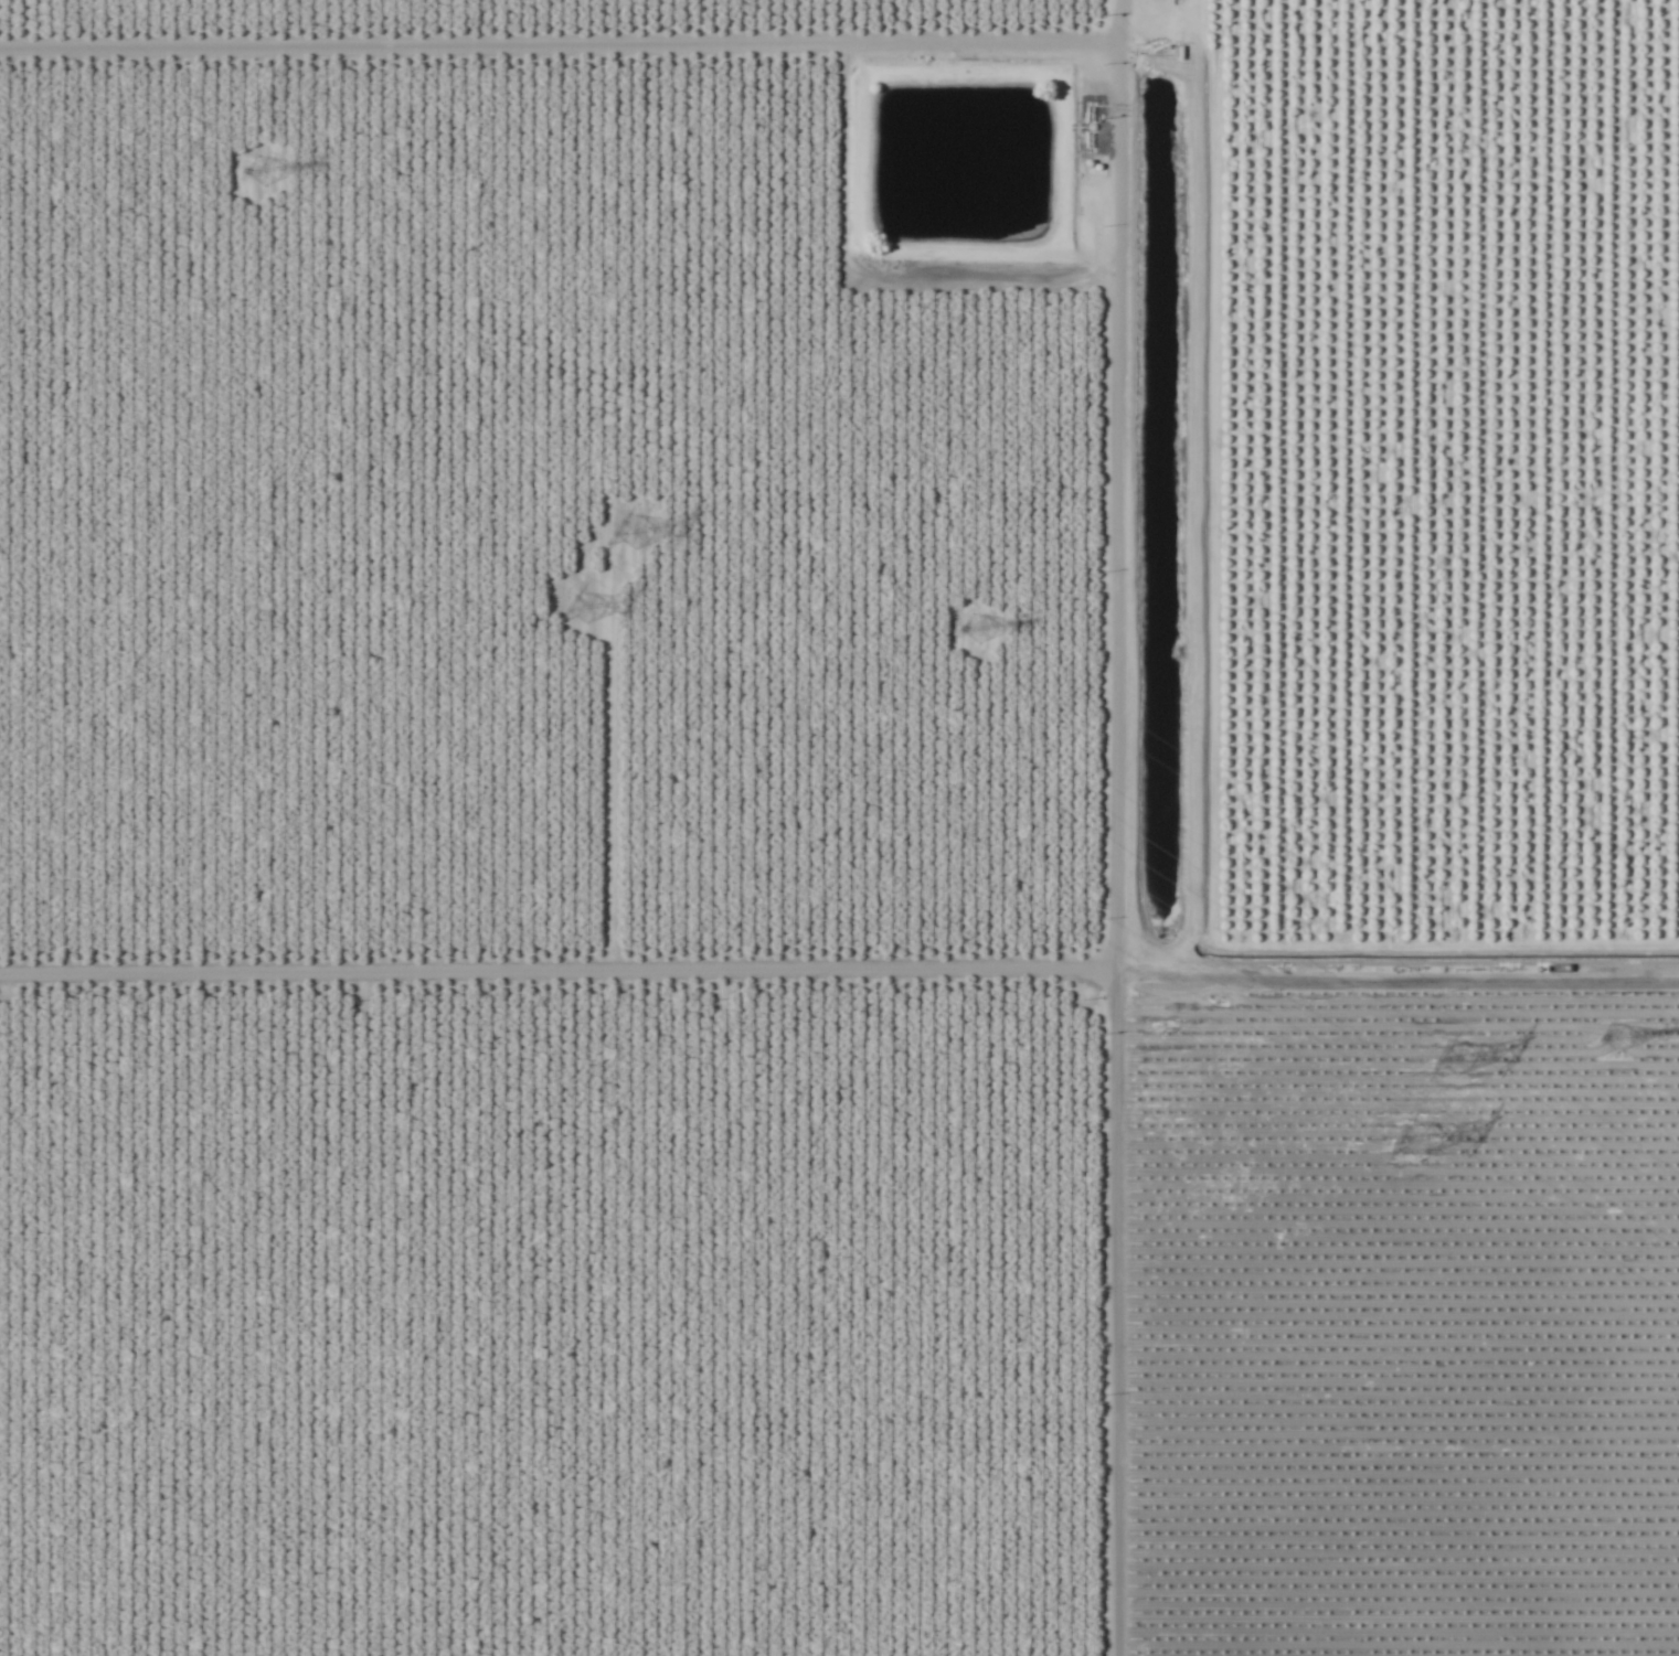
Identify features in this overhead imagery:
power tower: (255, 174)
power tower: (644, 535)
power tower: (607, 607)
power tower: (971, 626)
crop: (839, 827)
road: (1144, 827)
road: (839, 1011)
power tower: (1611, 1036)
power tower: (1465, 1069)
power tower: (1432, 1143)

